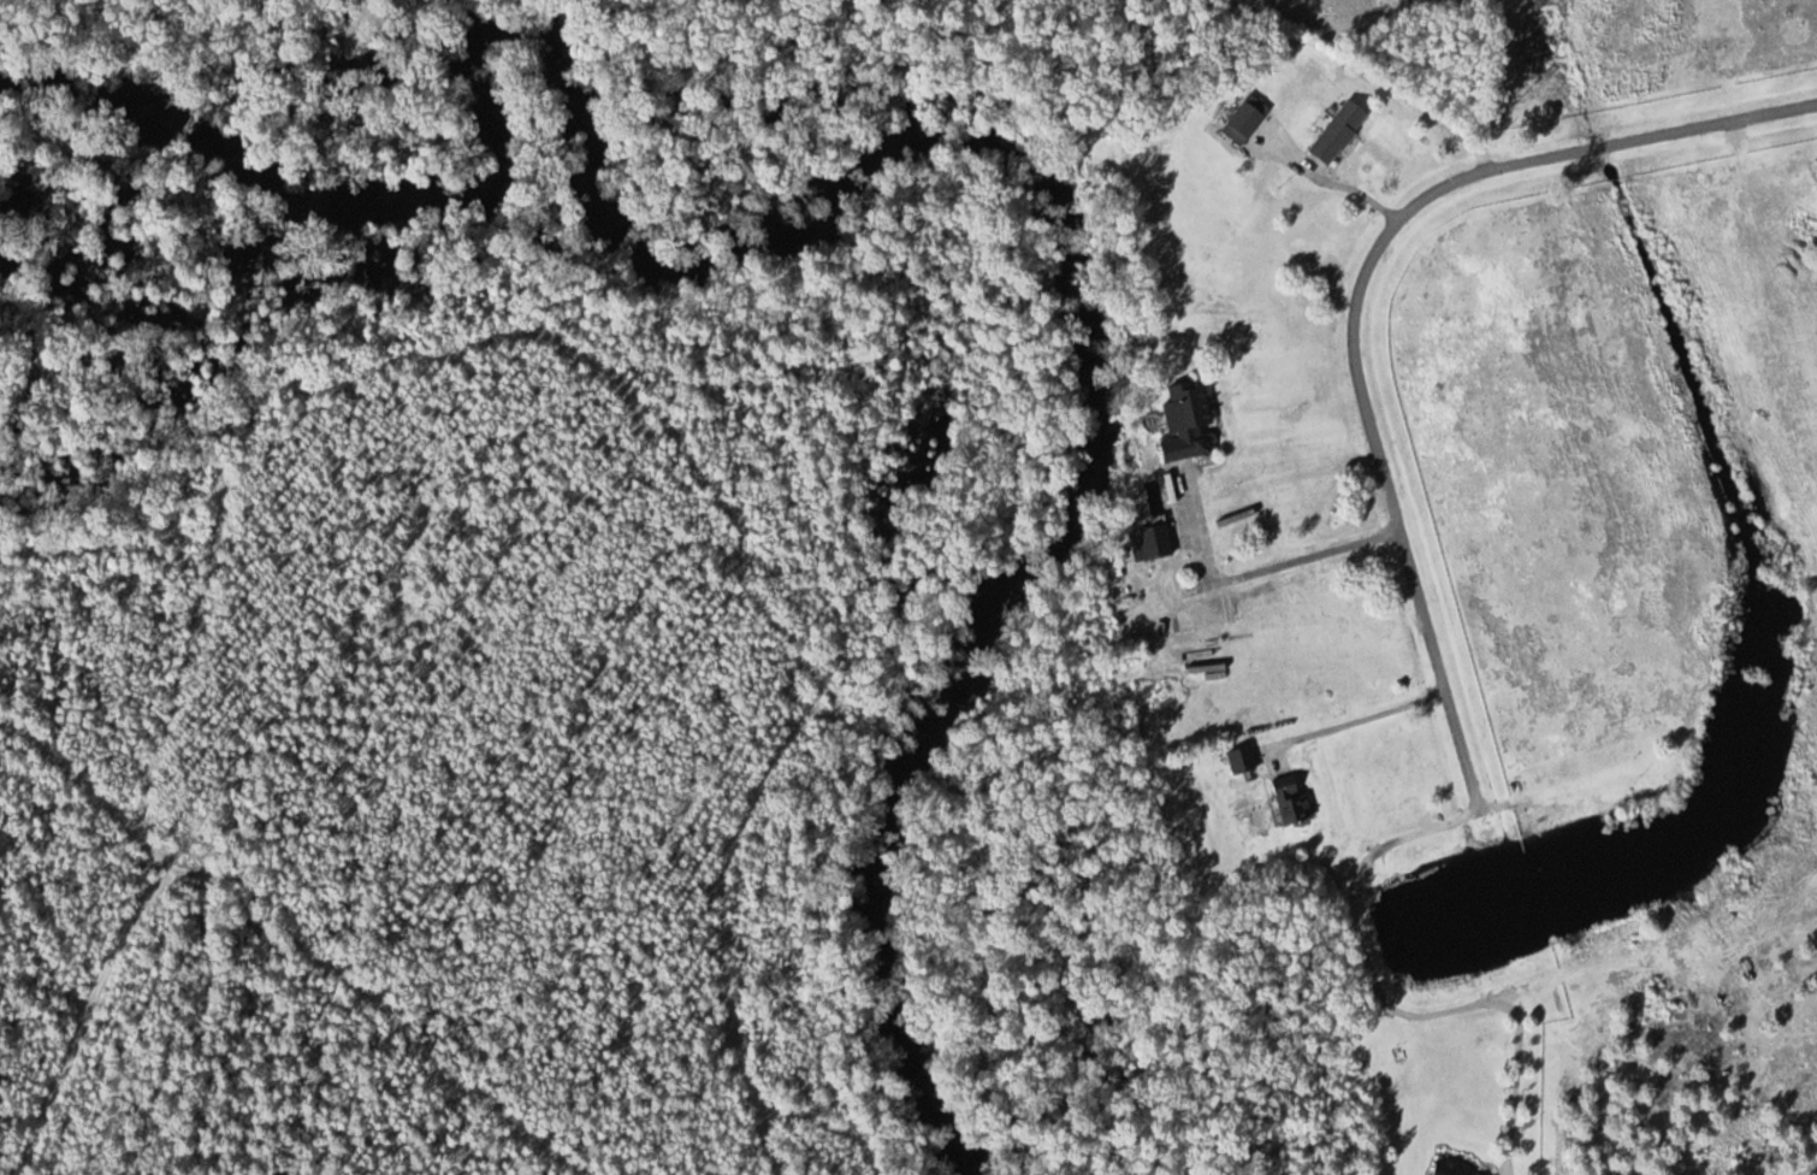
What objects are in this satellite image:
building: (1247, 119)
building: (1339, 131)
river: (939, 203)
building: (1188, 423)
road: (1387, 494)
building: (1152, 543)
building: (1243, 761)
building: (1291, 801)
building: (1450, 1169)

